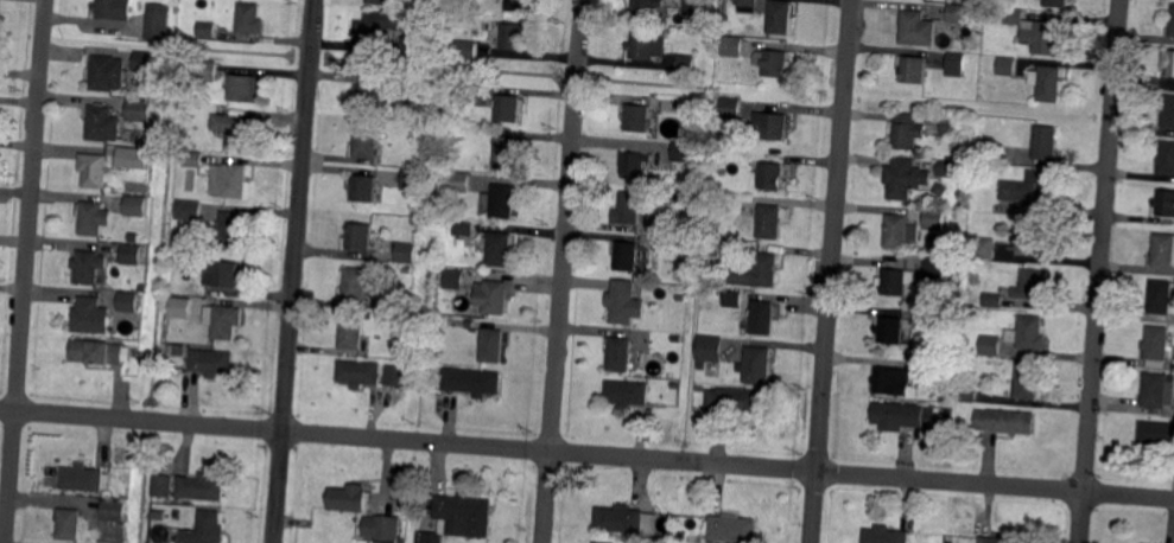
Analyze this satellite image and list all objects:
building: (380, 1)
building: (1055, 4)
building: (519, 5)
building: (748, 6)
building: (694, 7)
building: (114, 9)
building: (647, 9)
building: (957, 14)
building: (781, 17)
building: (1013, 17)
building: (249, 19)
building: (1172, 21)
building: (158, 23)
building: (919, 28)
building: (205, 30)
building: (373, 33)
building: (1043, 37)
building: (515, 38)
building: (418, 46)
building: (648, 47)
building: (734, 49)
building: (465, 50)
building: (1169, 60)
building: (687, 63)
building: (146, 64)
building: (778, 64)
building: (957, 64)
building: (1008, 66)
building: (915, 70)
building: (204, 71)
building: (108, 74)
building: (1051, 83)
building: (242, 88)
building: (418, 89)
building: (373, 97)
building: (510, 107)
building: (731, 109)
building: (139, 110)
building: (1169, 113)
building: (639, 119)
building: (102, 124)
building: (775, 124)
building: (724, 128)
building: (952, 128)
building: (967, 128)
building: (237, 130)
building: (909, 130)
building: (367, 140)
building: (1046, 143)
building: (685, 151)
building: (508, 153)
building: (1004, 156)
building: (1167, 158)
building: (139, 159)
building: (191, 159)
building: (636, 165)
building: (948, 170)
building: (93, 172)
building: (774, 175)
building: (905, 179)
building: (412, 180)
building: (229, 181)
building: (458, 183)
building: (366, 187)
building: (940, 190)
building: (1032, 190)
building: (504, 202)
building: (1165, 204)
building: (137, 206)
building: (189, 210)
building: (629, 210)
building: (93, 218)
building: (935, 218)
building: (772, 221)
road: (832, 224)
building: (672, 225)
building: (463, 229)
building: (233, 231)
building: (901, 231)
building: (135, 237)
building: (360, 237)
building: (1037, 238)
building: (665, 243)
building: (501, 248)
building: (712, 248)
building: (984, 249)
building: (1165, 253)
building: (406, 254)
building: (132, 255)
building: (627, 255)
building: (89, 267)
building: (934, 269)
road: (25, 270)
road: (294, 270)
road: (563, 270)
road: (1099, 270)
building: (756, 273)
building: (222, 274)
building: (453, 281)
building: (896, 281)
building: (356, 283)
building: (1035, 286)
building: (494, 296)
building: (680, 298)
building: (734, 299)
building: (1161, 299)
building: (624, 301)
building: (992, 301)
building: (128, 302)
building: (180, 306)
building: (937, 313)
building: (93, 318)
building: (764, 318)
building: (223, 321)
building: (408, 327)
building: (889, 331)
building: (353, 332)
building: (1029, 333)
building: (675, 339)
building: (493, 345)
building: (989, 345)
building: (1157, 345)
building: (710, 349)
building: (96, 352)
building: (620, 354)
building: (212, 364)
building: (759, 365)
building: (929, 371)
building: (360, 376)
building: (396, 376)
building: (472, 381)
building: (1028, 381)
building: (893, 382)
building: (1155, 389)
building: (627, 394)
building: (966, 396)
building: (737, 400)
building: (903, 416)
building: (1005, 422)
building: (1156, 433)
road: (586, 453)
road: (812, 468)
building: (84, 479)
building: (163, 486)
building: (201, 488)
building: (349, 499)
building: (114, 511)
building: (457, 516)
road: (810, 516)
building: (623, 520)
building: (68, 525)
building: (207, 529)
building: (381, 529)
building: (732, 530)
building: (679, 536)
building: (883, 536)
building: (1000, 539)
building: (601, 542)

